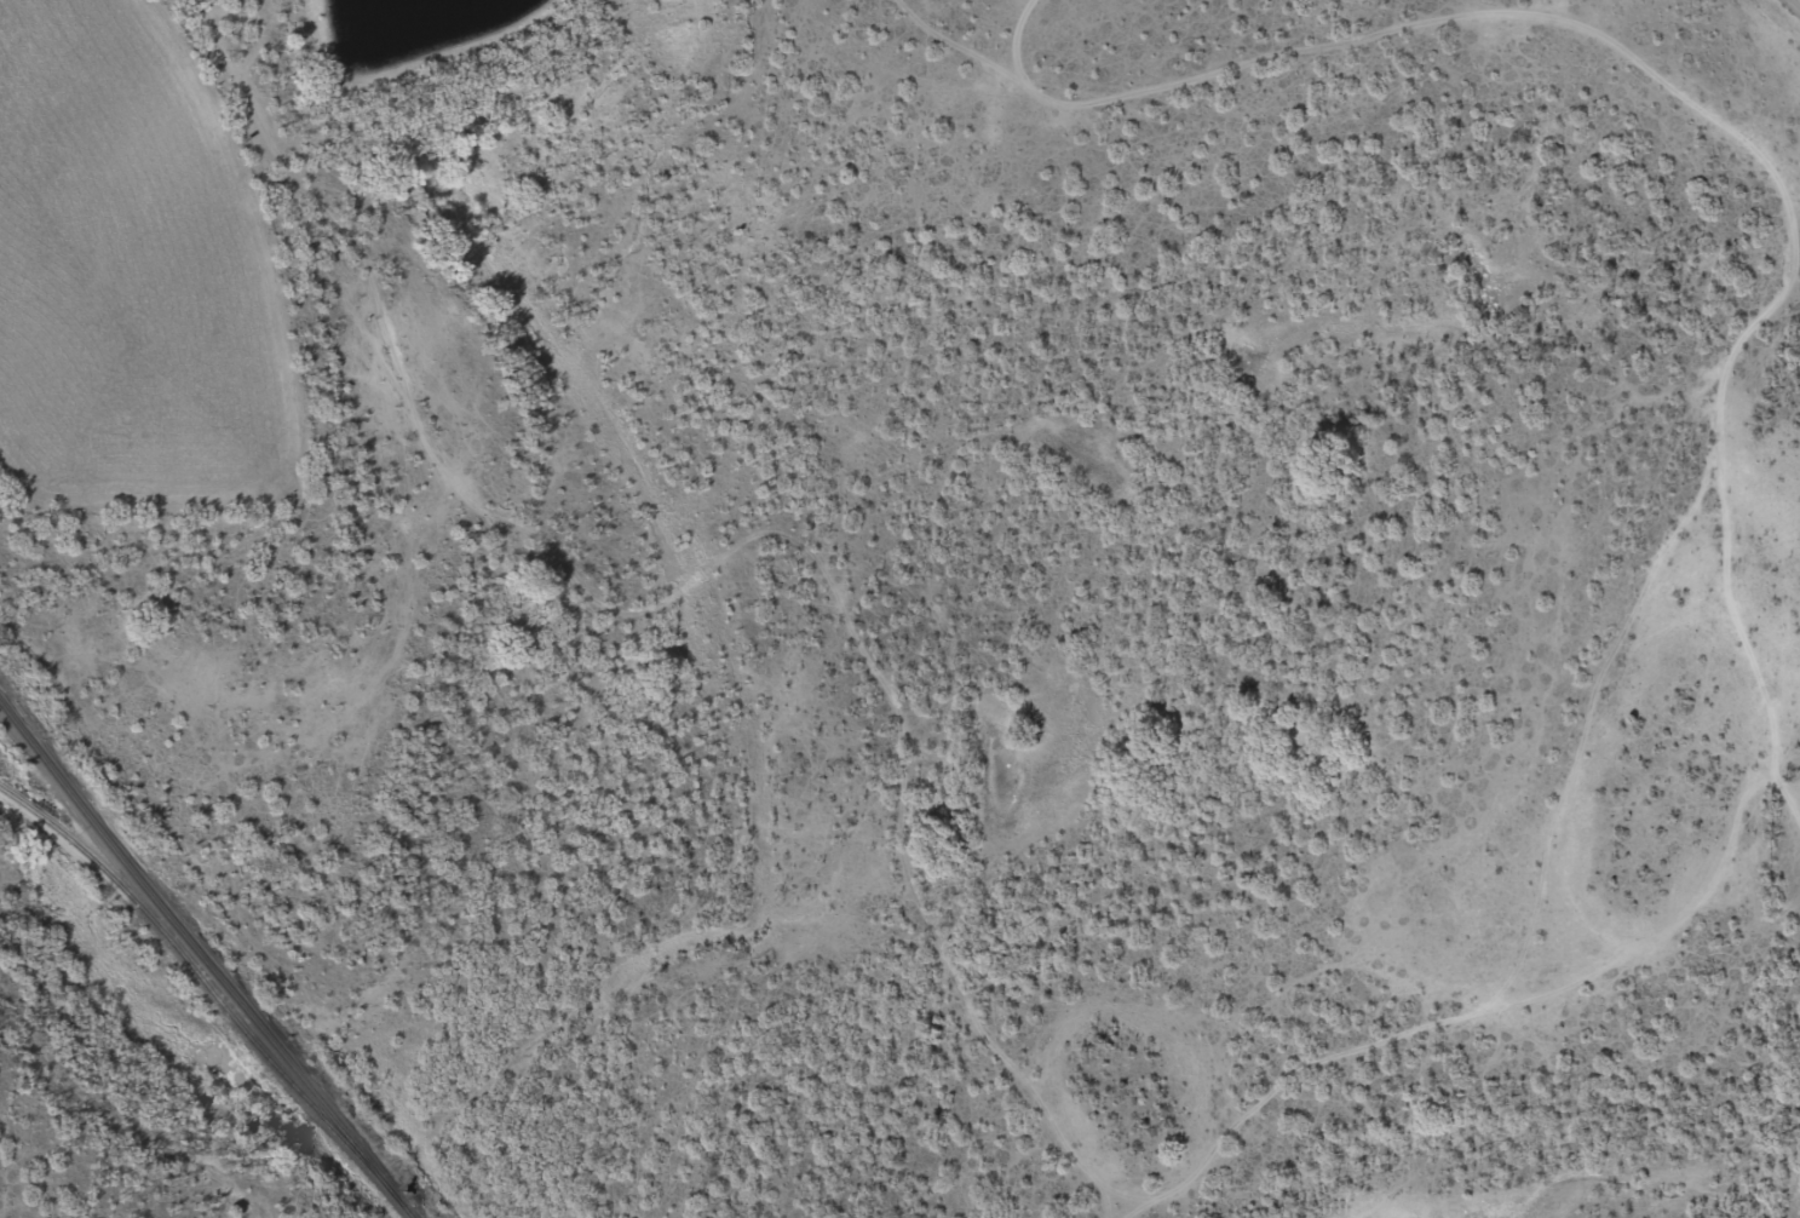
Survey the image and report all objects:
road: (240, 30)
road: (604, 555)
railway: (192, 950)
railway: (203, 983)
railway: (402, 1206)

